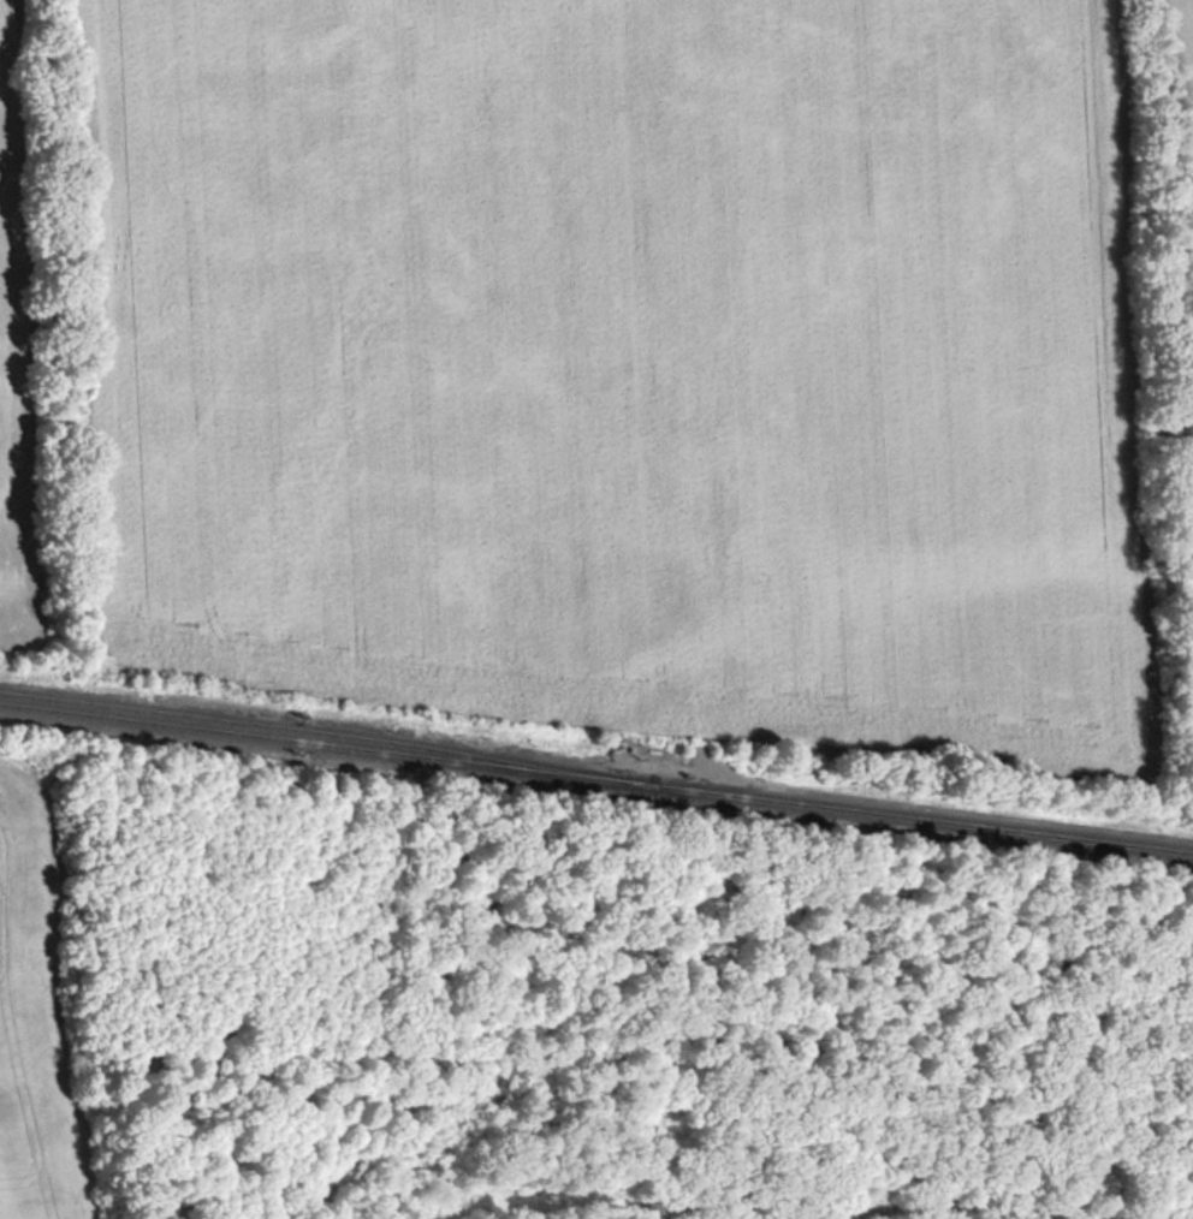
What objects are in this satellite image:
railway: (327, 733)
railway: (595, 779)

